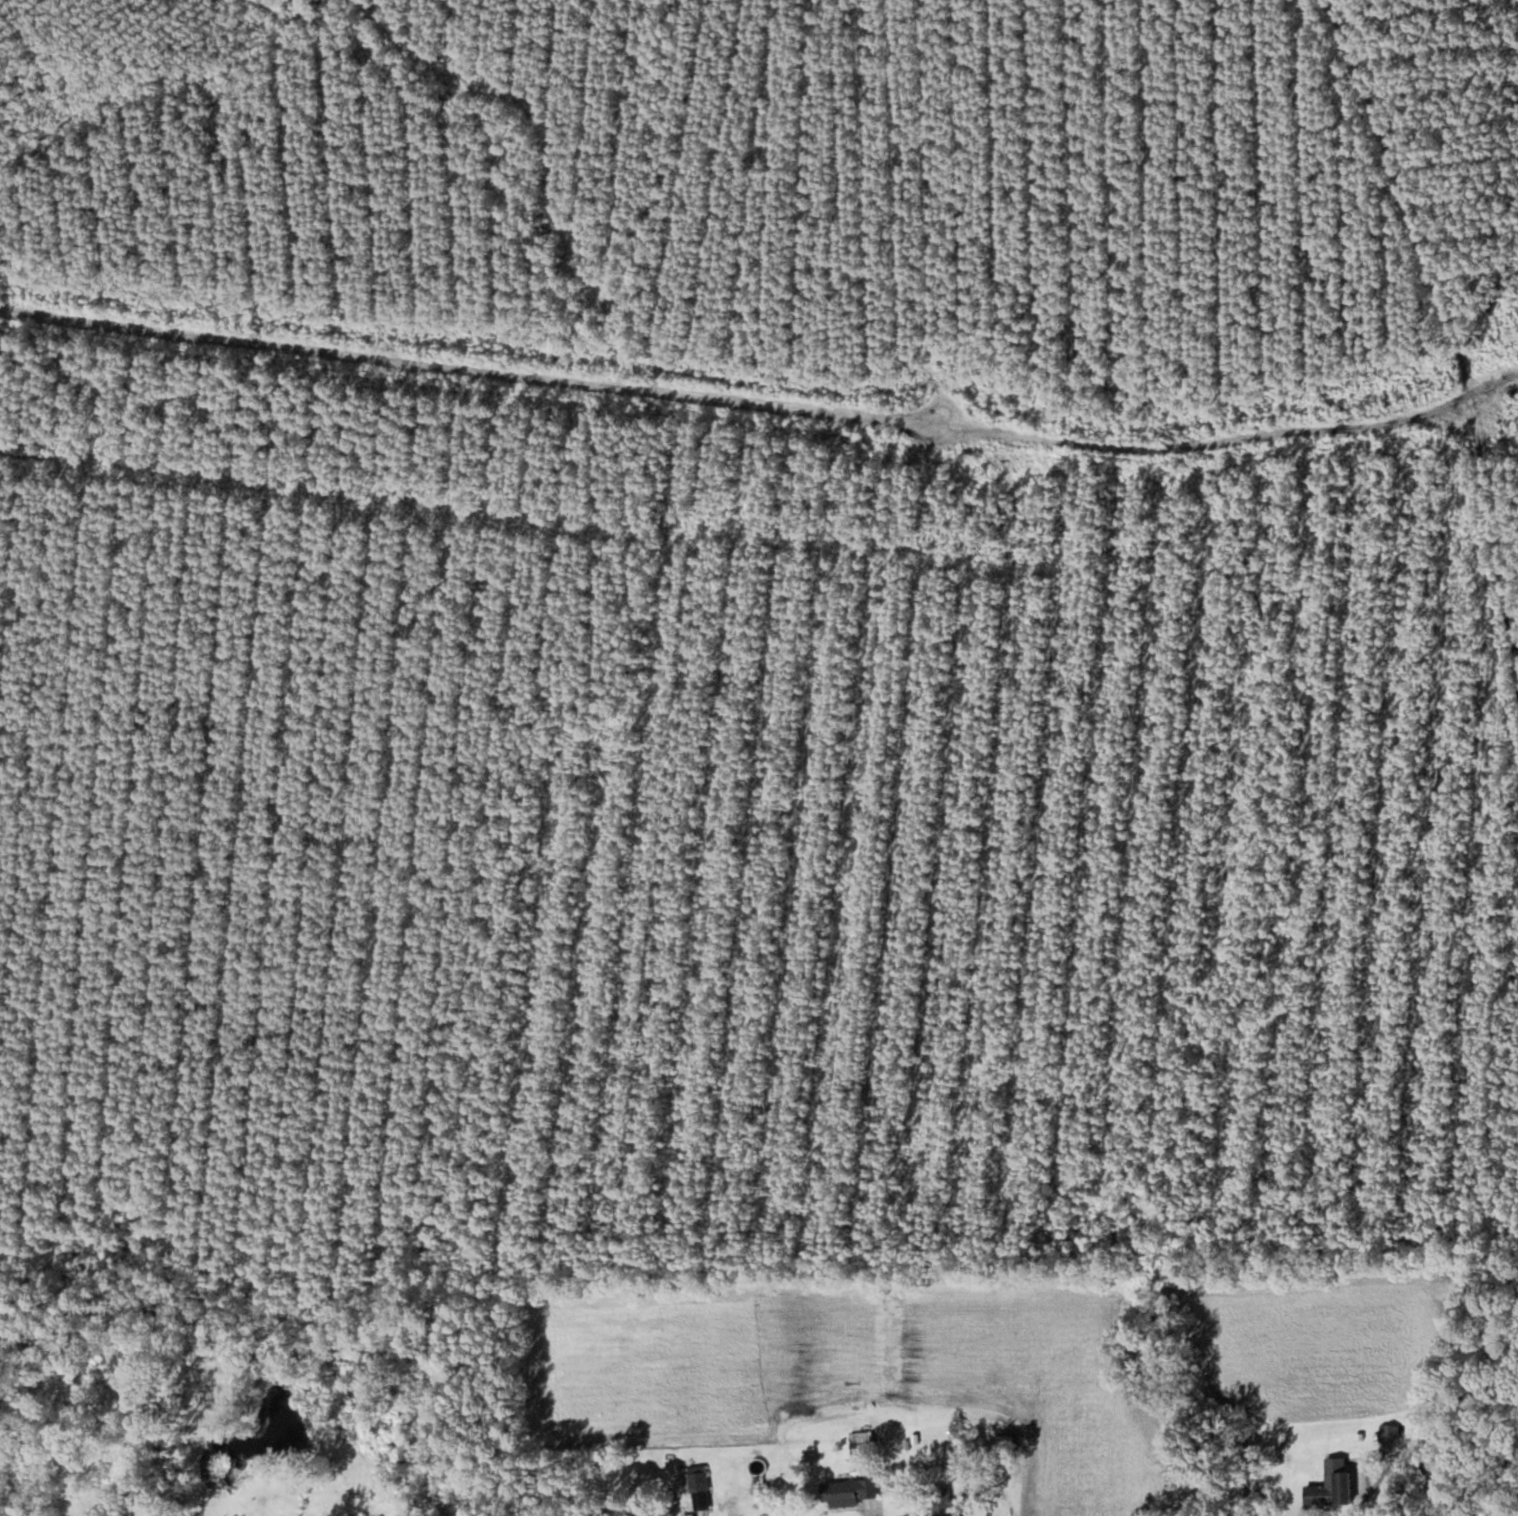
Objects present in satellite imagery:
road: (446, 365)
building: (862, 1442)
building: (1332, 1485)
building: (699, 1487)
building: (850, 1492)
building: (943, 1504)

